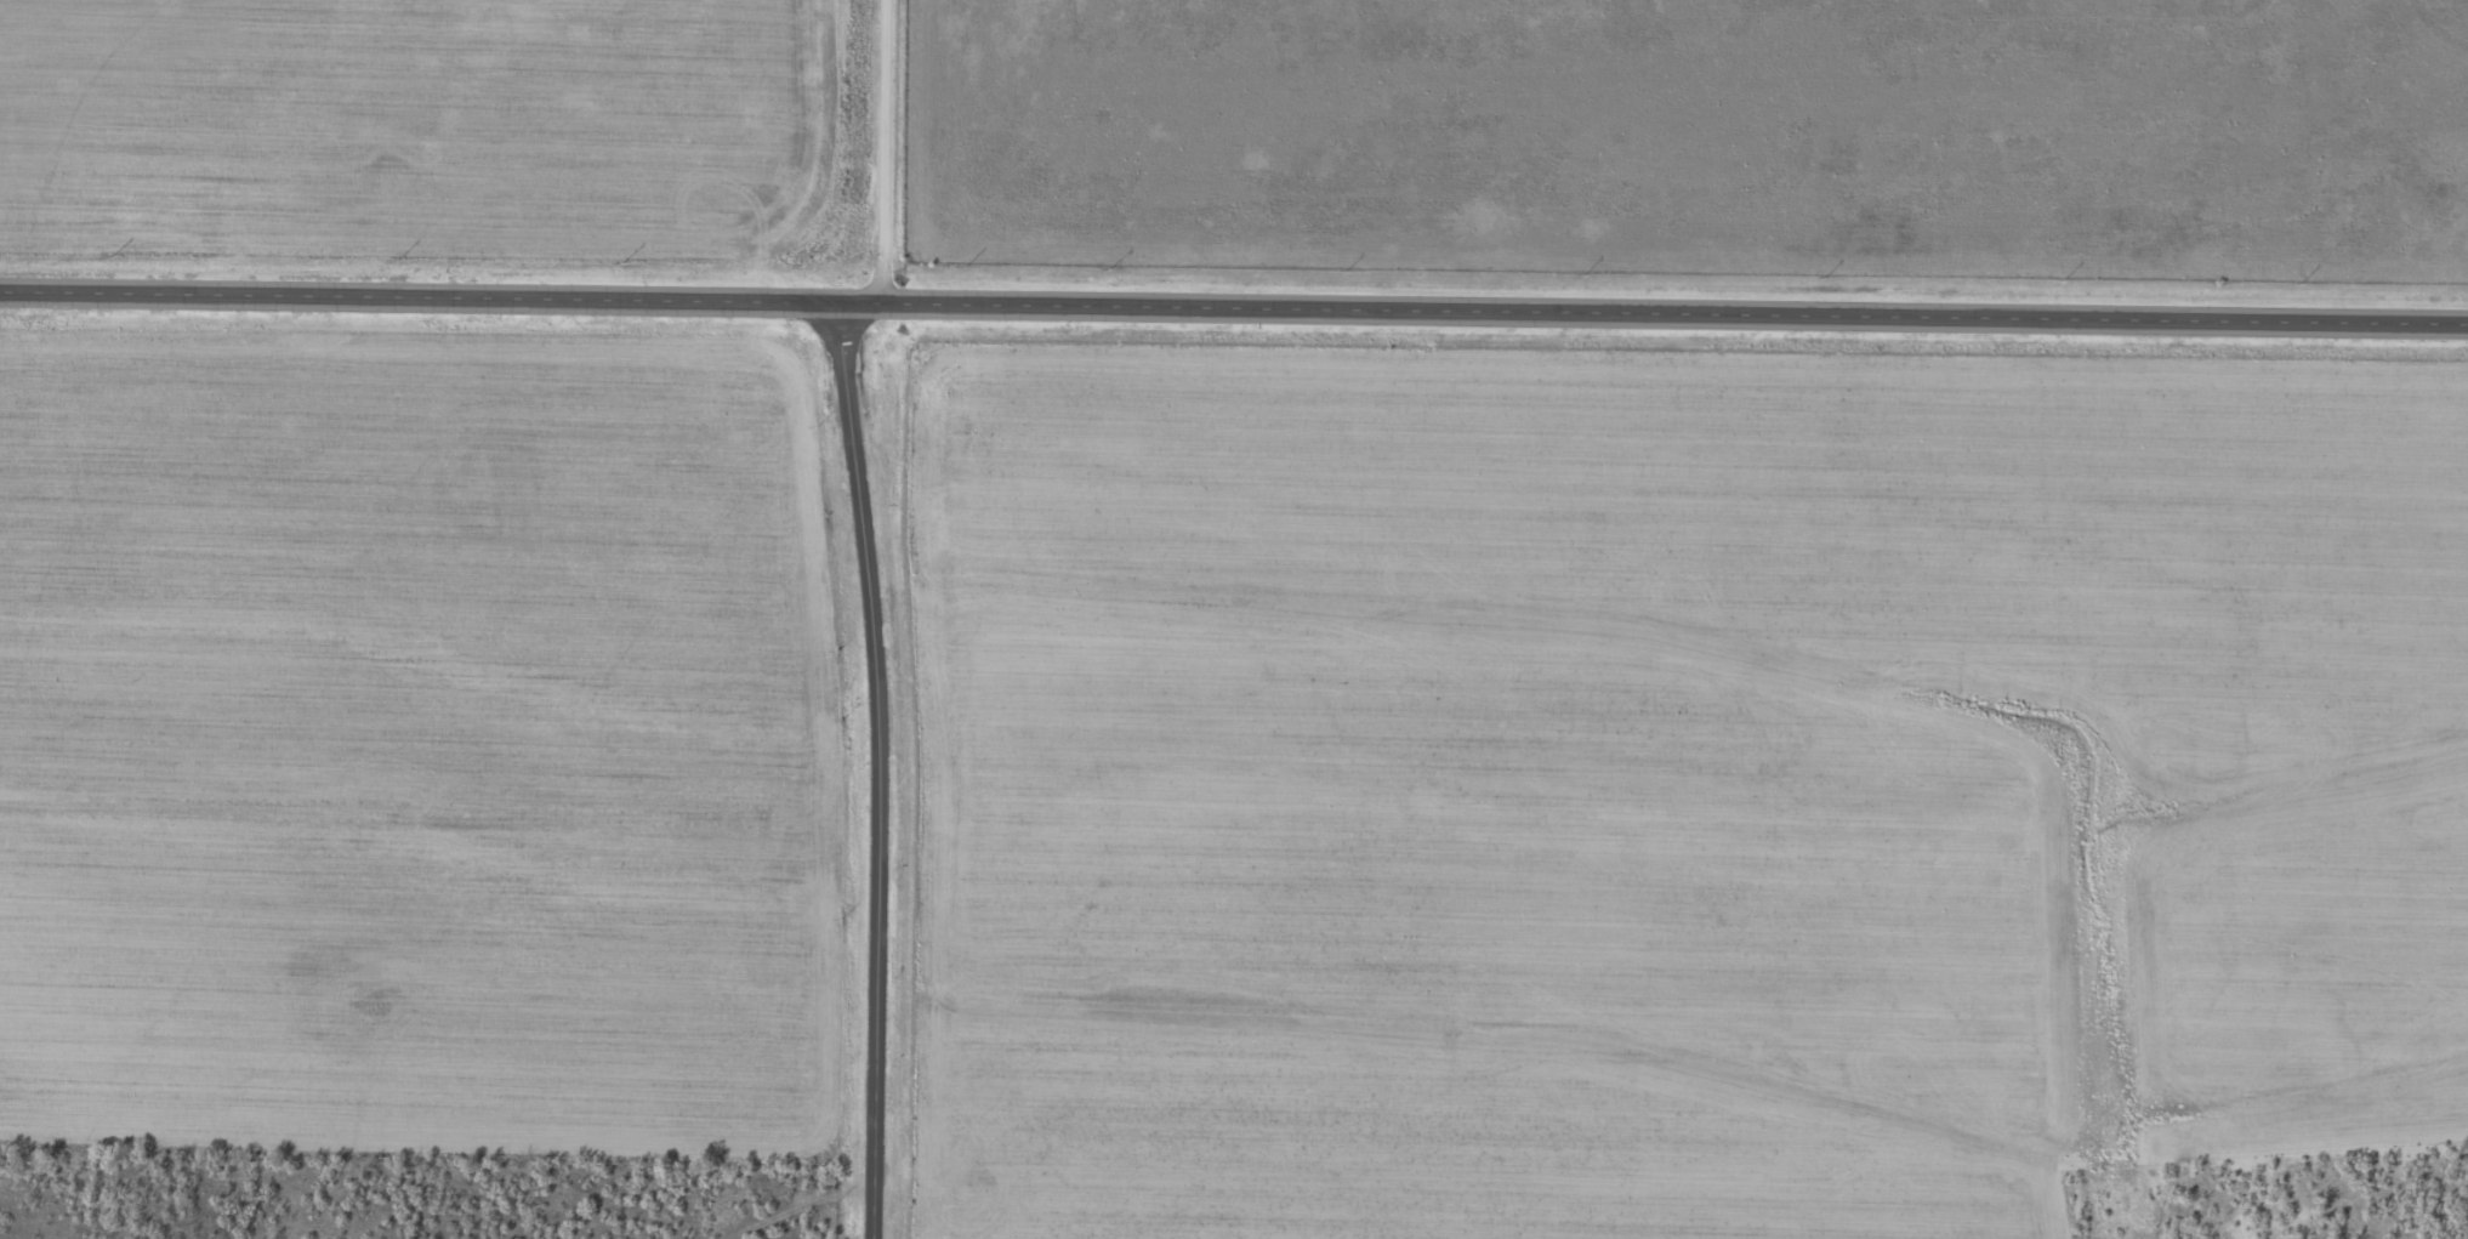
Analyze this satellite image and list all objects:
road: (891, 155)
road: (1233, 314)
road: (874, 773)
road: (789, 1206)

